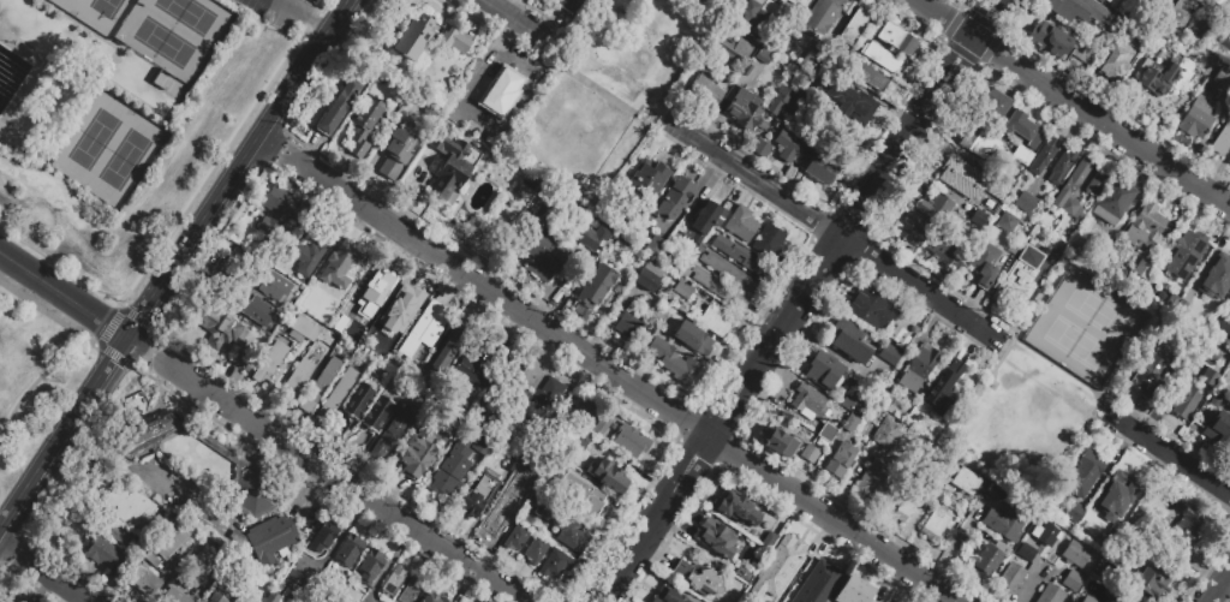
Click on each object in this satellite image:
building: (796, 2)
building: (1219, 2)
building: (571, 5)
building: (1162, 5)
road: (991, 8)
building: (753, 12)
building: (1065, 12)
park: (100, 13)
building: (1182, 13)
building: (826, 14)
building: (1110, 16)
road: (305, 18)
building: (768, 18)
road: (526, 26)
building: (855, 29)
building: (1127, 29)
building: (1196, 32)
park: (175, 34)
road: (973, 36)
building: (428, 41)
building: (898, 41)
building: (1222, 44)
building: (1063, 47)
building: (735, 53)
building: (766, 56)
building: (882, 59)
building: (1118, 64)
building: (812, 65)
building: (1210, 67)
road: (945, 77)
building: (1168, 77)
building: (871, 79)
building: (1223, 82)
road: (610, 83)
building: (495, 88)
park: (610, 88)
building: (706, 91)
building: (788, 103)
building: (850, 103)
road: (1074, 103)
building: (997, 107)
building: (339, 111)
building: (750, 117)
building: (1198, 121)
building: (364, 130)
building: (1026, 130)
building: (983, 143)
building: (1223, 144)
park: (112, 145)
road: (273, 145)
building: (789, 149)
building: (763, 150)
building: (1023, 155)
building: (396, 157)
building: (1045, 157)
building: (1229, 160)
road: (215, 162)
building: (822, 167)
building: (453, 168)
building: (1063, 168)
road: (243, 169)
building: (965, 179)
building: (1098, 185)
building: (646, 189)
building: (1001, 190)
building: (1074, 192)
building: (675, 202)
building: (1027, 202)
building: (1117, 202)
building: (938, 209)
building: (283, 213)
building: (255, 217)
building: (980, 220)
building: (706, 222)
building: (1009, 223)
road: (826, 225)
building: (744, 226)
building: (1146, 227)
building: (914, 231)
building: (1037, 240)
building: (591, 242)
building: (659, 243)
building: (771, 245)
building: (948, 250)
building: (1101, 251)
building: (1190, 251)
building: (311, 257)
building: (742, 260)
building: (545, 262)
building: (1154, 262)
building: (986, 263)
building: (235, 266)
building: (342, 268)
building: (1145, 272)
building: (730, 274)
building: (651, 279)
building: (1222, 279)
building: (1016, 286)
building: (1183, 286)
building: (276, 288)
building: (597, 290)
building: (686, 291)
building: (721, 291)
road: (65, 297)
building: (371, 297)
building: (1190, 297)
building: (1171, 303)
building: (1228, 303)
building: (402, 310)
building: (872, 311)
building: (255, 312)
road: (47, 314)
building: (1228, 314)
park: (1089, 322)
building: (1194, 323)
building: (717, 326)
building: (628, 328)
building: (428, 330)
building: (305, 333)
building: (223, 336)
building: (694, 340)
building: (852, 344)
road: (137, 345)
building: (449, 351)
road: (768, 351)
building: (895, 351)
building: (1208, 357)
road: (1002, 358)
building: (243, 359)
building: (273, 363)
building: (675, 364)
road: (1058, 365)
building: (922, 369)
building: (826, 370)
park: (1057, 371)
building: (474, 372)
road: (44, 375)
road: (619, 377)
building: (1150, 379)
building: (1211, 379)
building: (299, 382)
building: (502, 387)
building: (322, 388)
building: (945, 388)
building: (338, 399)
building: (363, 399)
building: (884, 401)
building: (1186, 403)
building: (535, 405)
building: (858, 405)
building: (811, 406)
building: (1228, 409)
building: (382, 412)
building: (584, 413)
building: (852, 425)
building: (602, 429)
road: (70, 431)
building: (1226, 431)
building: (395, 433)
building: (829, 435)
building: (889, 436)
building: (580, 441)
building: (782, 442)
building: (632, 443)
building: (484, 447)
building: (424, 448)
road: (1169, 452)
building: (812, 454)
building: (842, 463)
building: (239, 464)
building: (944, 465)
building: (513, 466)
road: (332, 475)
building: (1087, 476)
building: (448, 477)
building: (609, 478)
building: (876, 481)
building: (530, 482)
building: (968, 483)
building: (1123, 491)
building: (479, 497)
building: (586, 499)
building: (536, 503)
building: (735, 507)
building: (908, 507)
building: (130, 509)
building: (1077, 515)
building: (501, 519)
building: (1013, 524)
building: (936, 528)
road: (5, 529)
building: (566, 529)
building: (1113, 529)
building: (1189, 529)
building: (112, 536)
building: (1046, 537)
building: (282, 538)
building: (326, 538)
building: (518, 540)
building: (171, 541)
building: (717, 542)
road: (6, 544)
building: (537, 553)
building: (790, 553)
building: (351, 554)
building: (1027, 555)
building: (103, 556)
building: (1077, 556)
building: (990, 560)
building: (151, 561)
building: (204, 564)
road: (1205, 564)
building: (557, 567)
building: (372, 568)
building: (1112, 574)
road: (52, 576)
building: (700, 580)
building: (1013, 580)
building: (143, 582)
building: (816, 582)
building: (1074, 583)
building: (1152, 583)
building: (395, 584)
road: (1218, 584)
building: (297, 585)
building: (412, 591)
building: (855, 592)
building: (432, 596)
building: (673, 596)
building: (1052, 596)
building: (174, 597)
building: (274, 598)
building: (217, 600)
building: (1087, 600)

